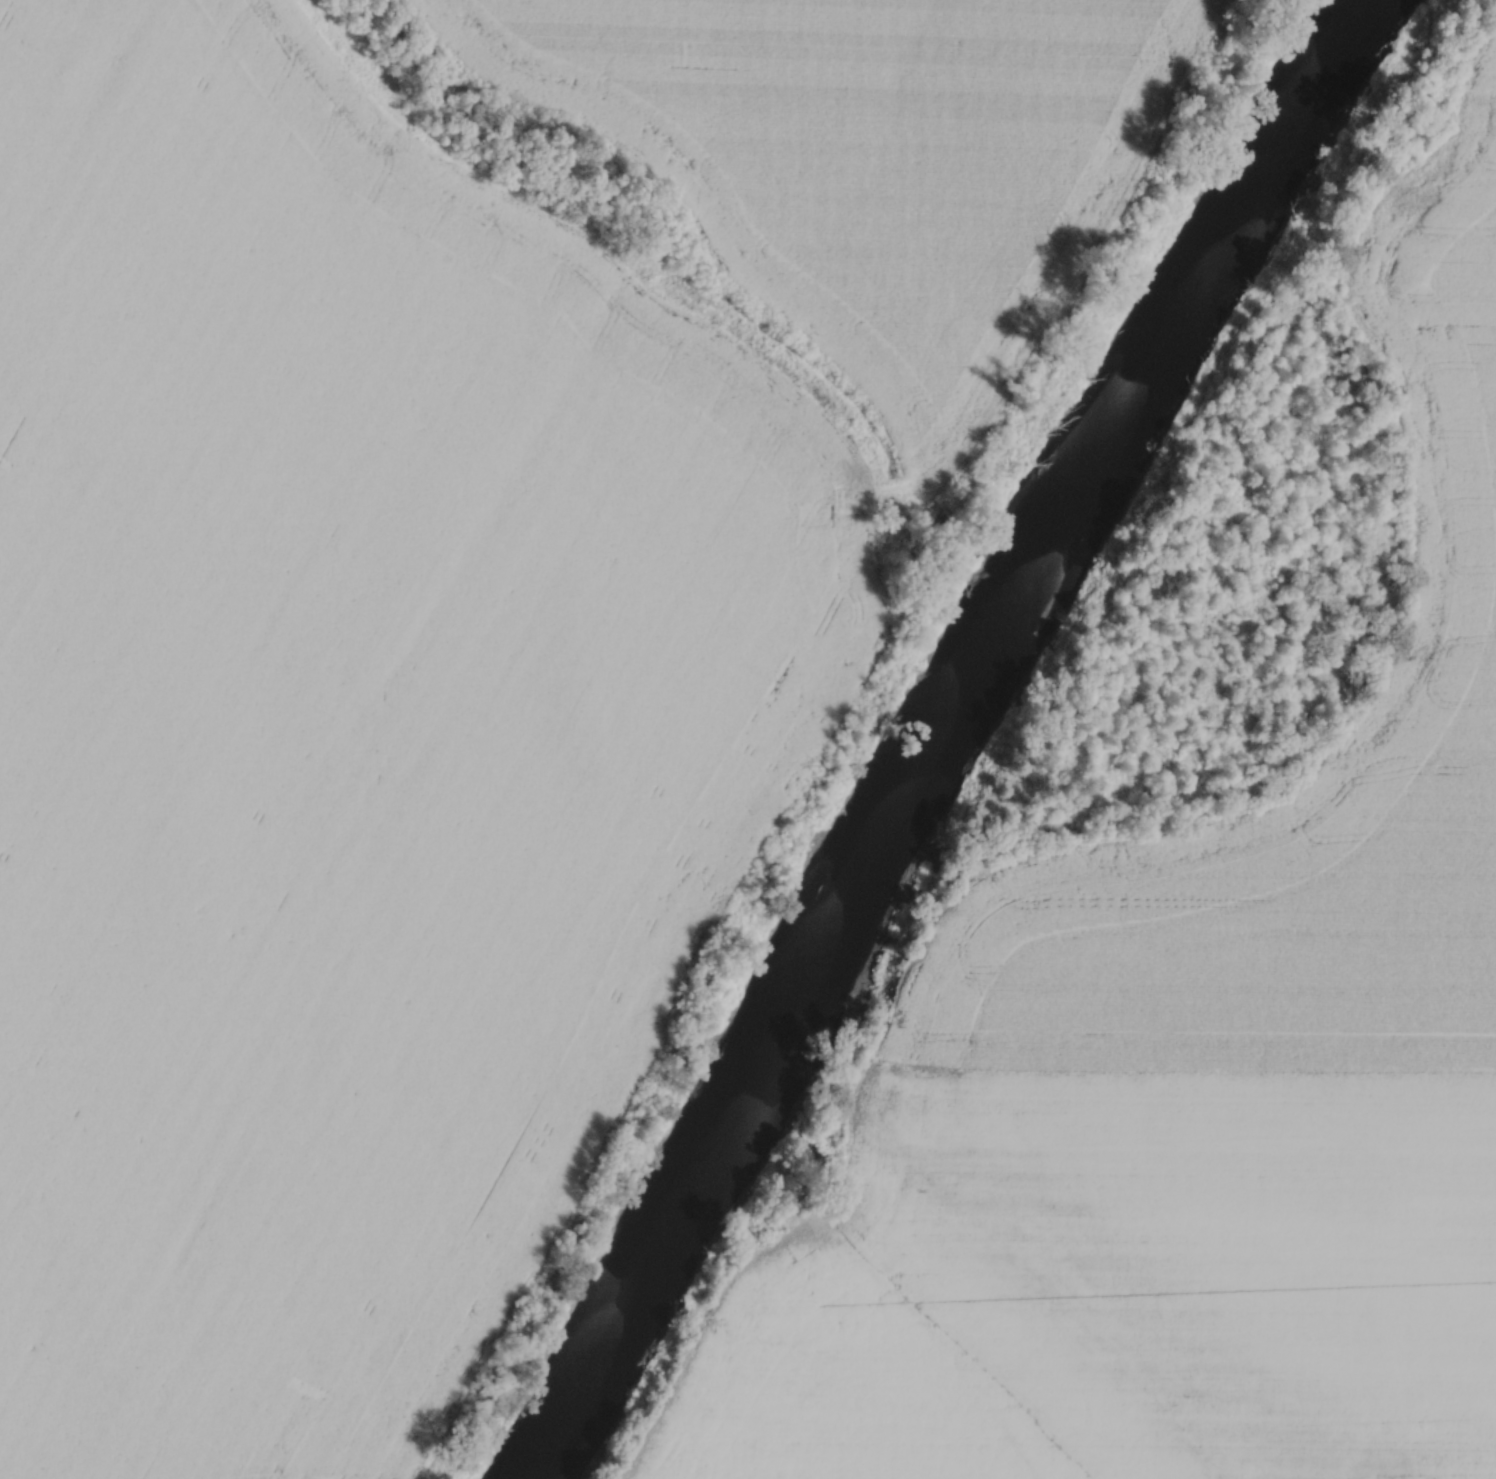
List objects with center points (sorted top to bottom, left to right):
river: (938, 736)

